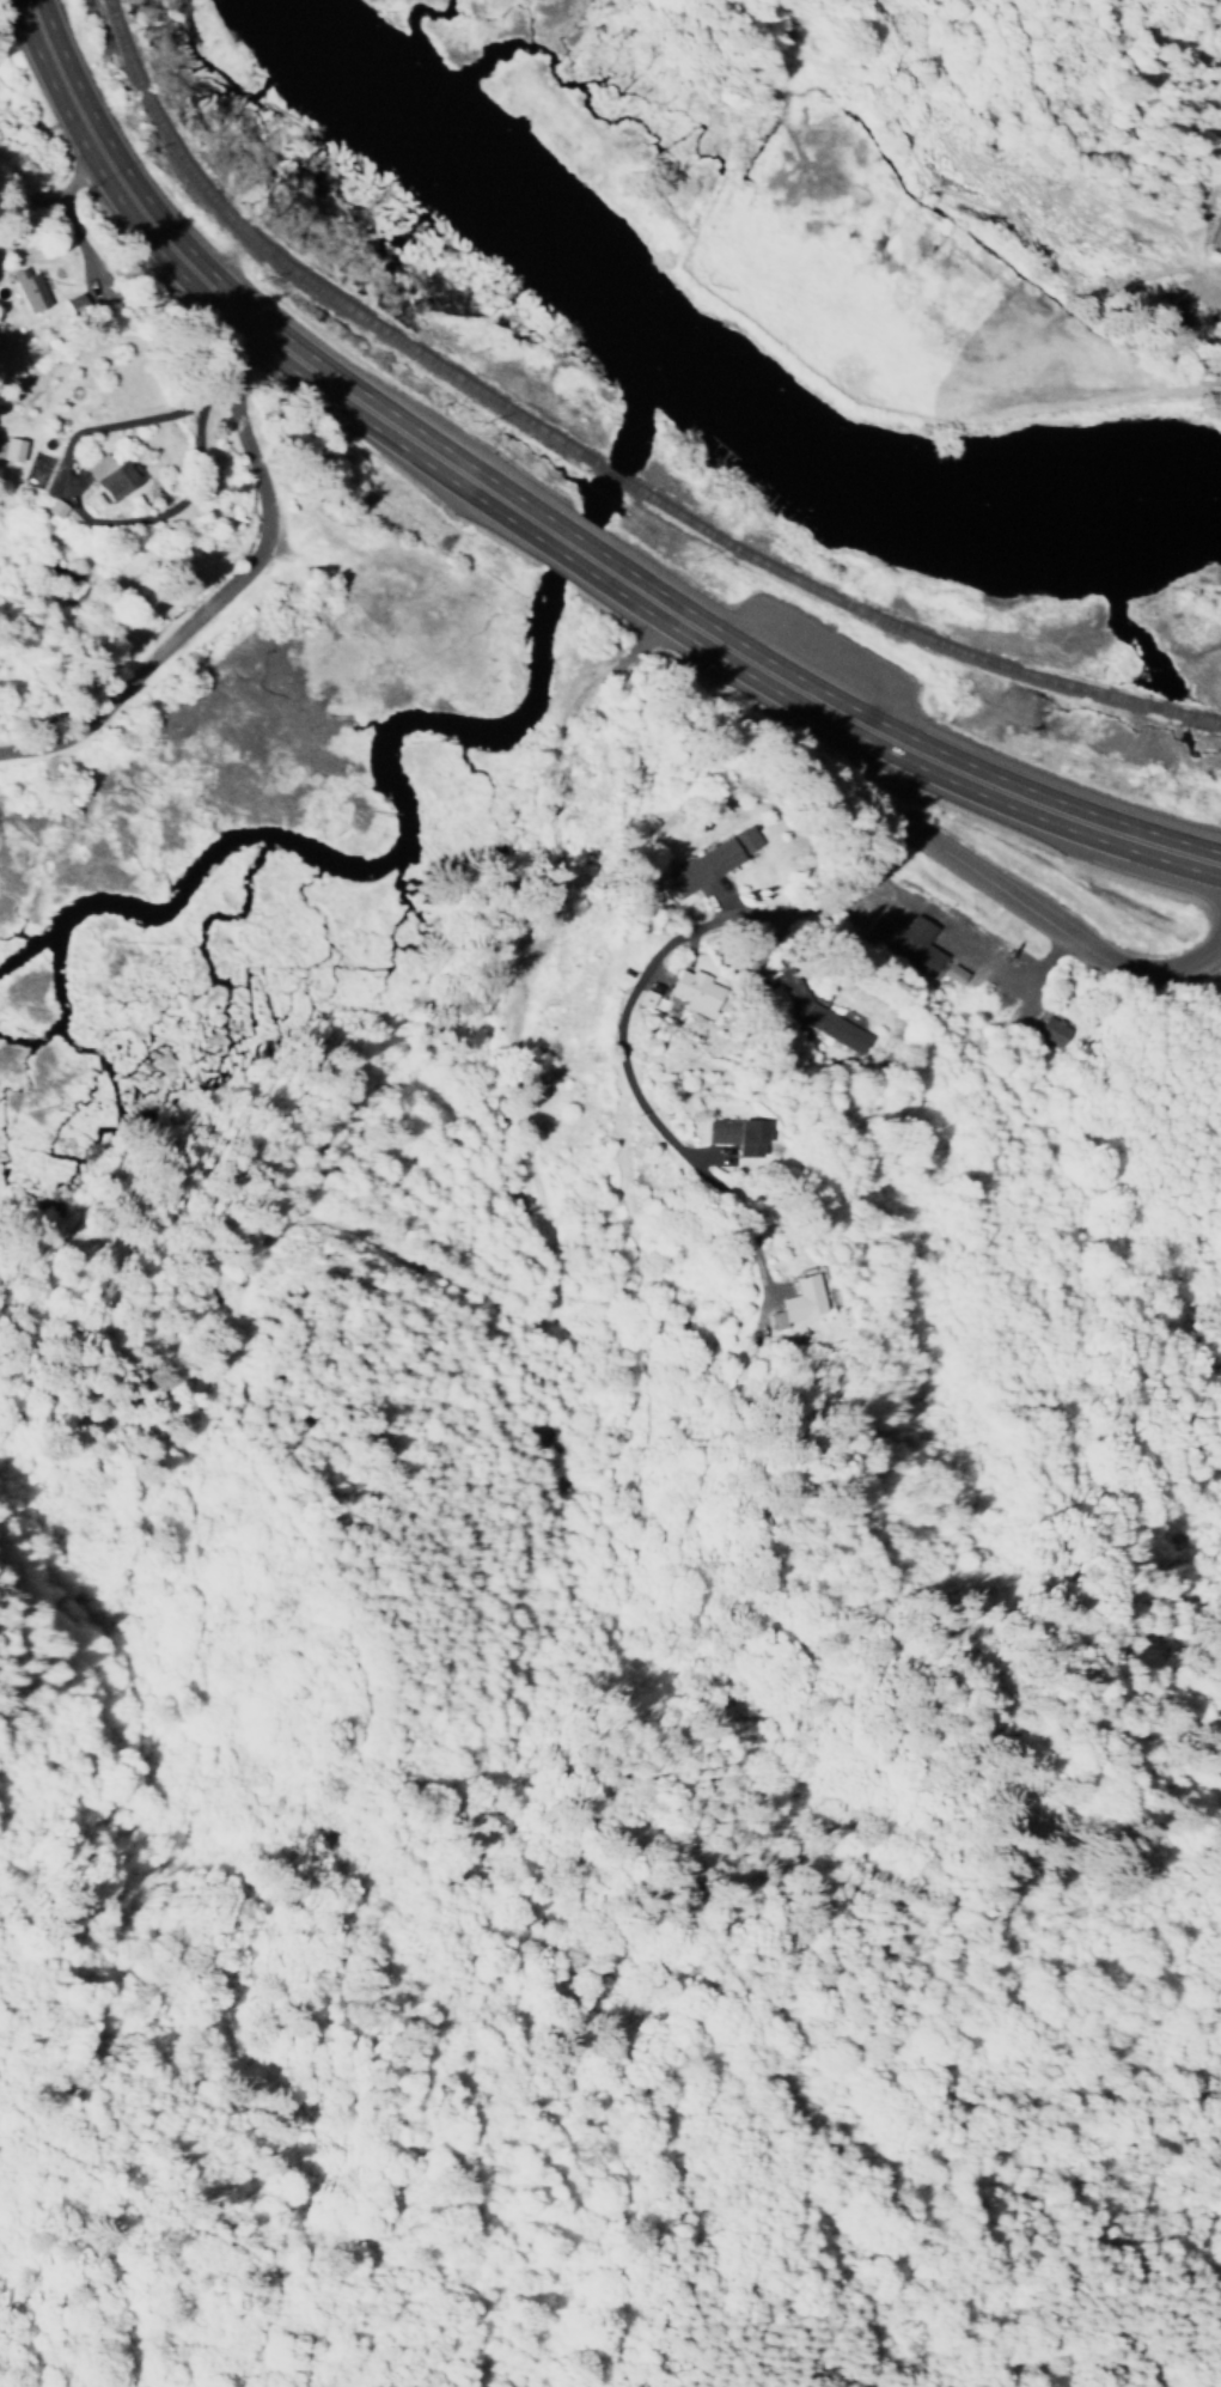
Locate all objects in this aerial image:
road: (56, 195)
building: (1215, 236)
railway: (300, 279)
building: (25, 290)
road: (238, 307)
river: (698, 378)
building: (8, 450)
building: (106, 476)
railway: (602, 489)
building: (50, 510)
road: (584, 552)
road: (227, 586)
railway: (908, 650)
road: (909, 747)
building: (709, 861)
road: (826, 908)
building: (901, 943)
building: (692, 993)
building: (807, 1013)
building: (1050, 1033)
building: (733, 1135)
building: (795, 1302)
road: (939, 1405)

